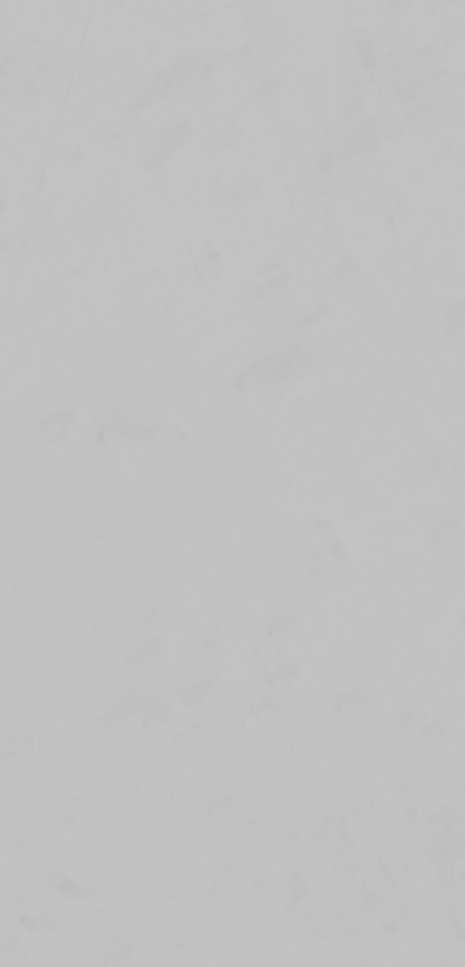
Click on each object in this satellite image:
road: (55, 210)
building: (124, 884)

